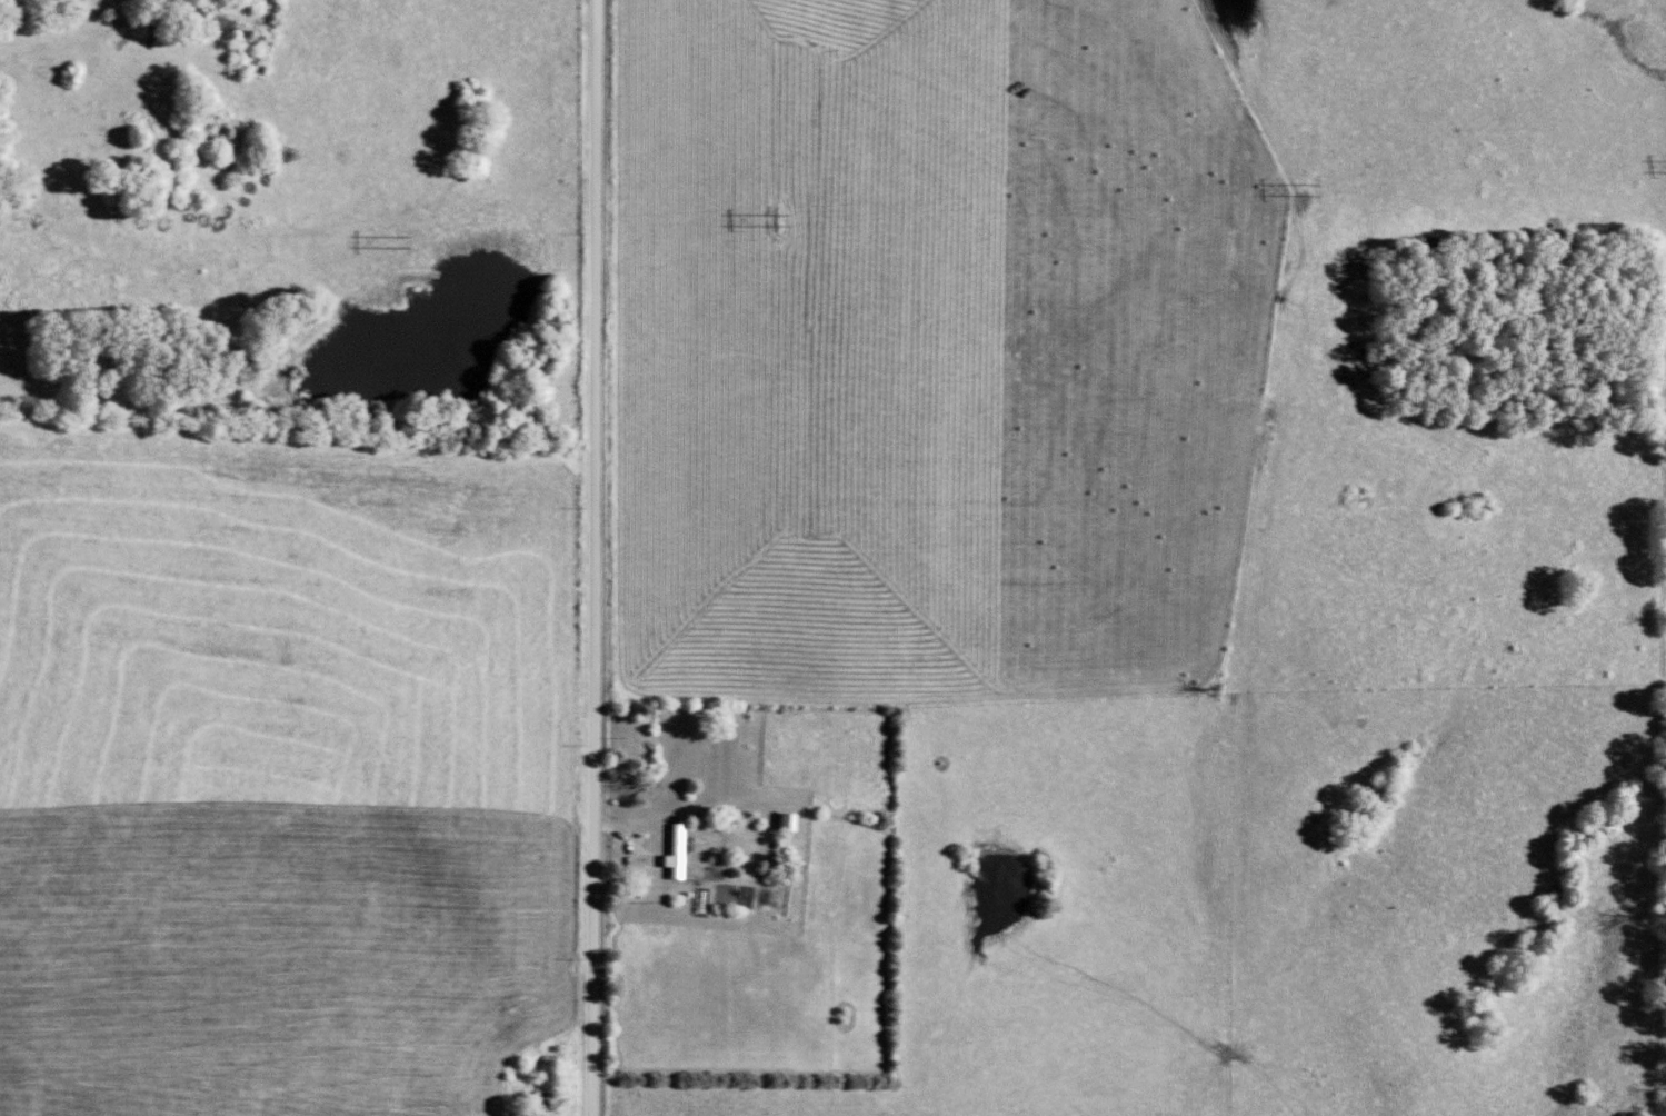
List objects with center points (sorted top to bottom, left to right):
power tower: (1305, 195)
power tower: (784, 225)
power tower: (399, 248)
road: (596, 558)
building: (685, 850)

